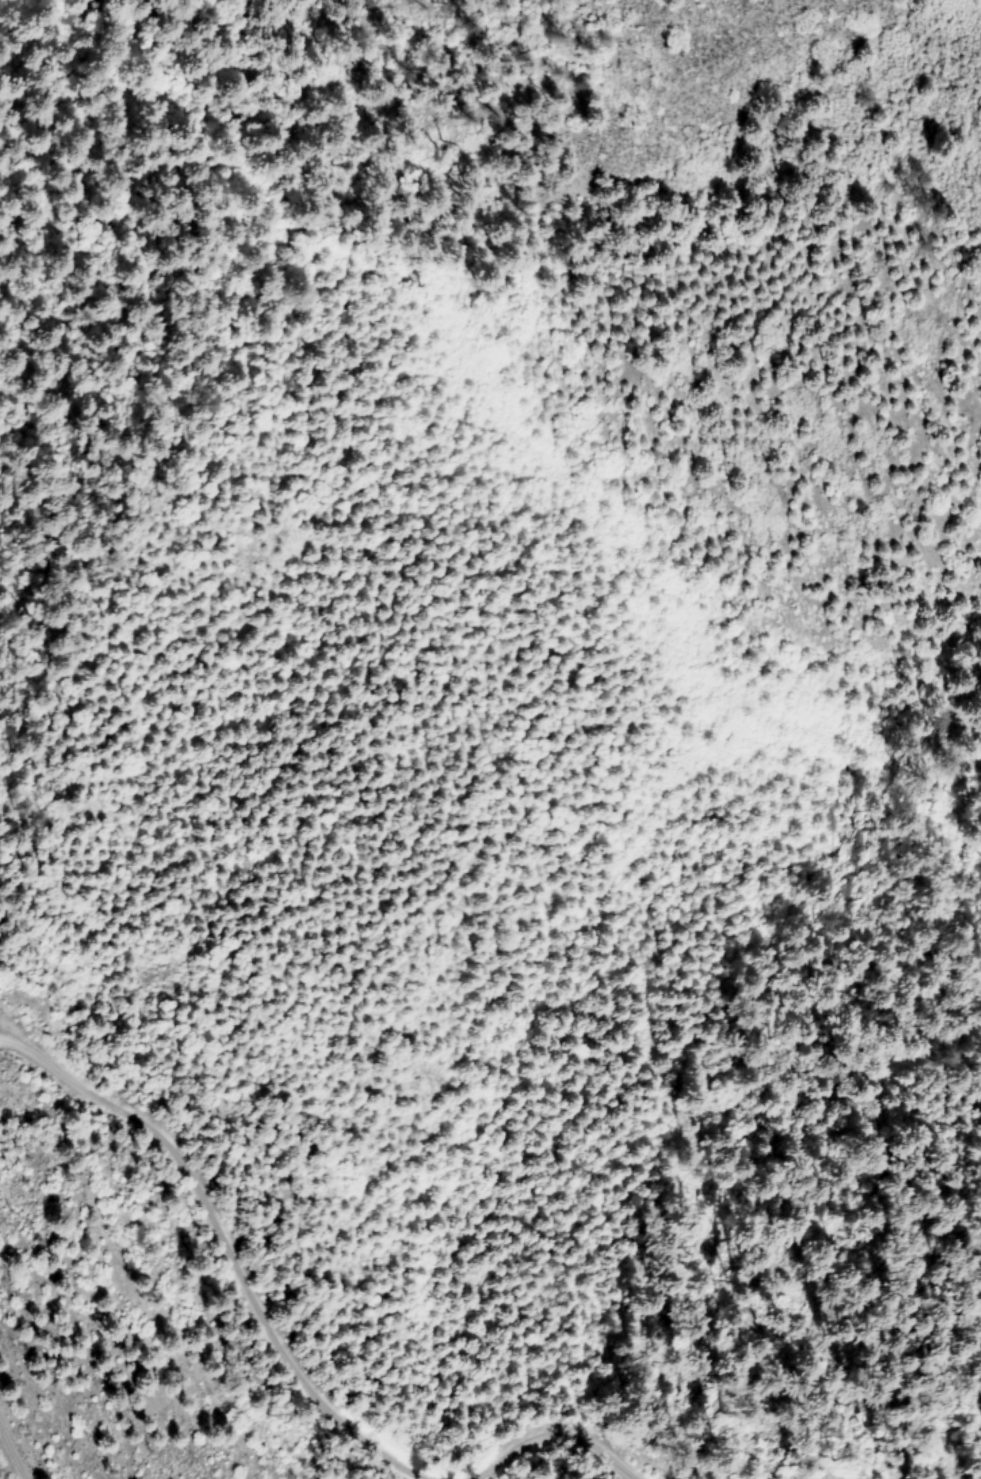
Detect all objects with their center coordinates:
road: (372, 1378)
road: (19, 1424)

